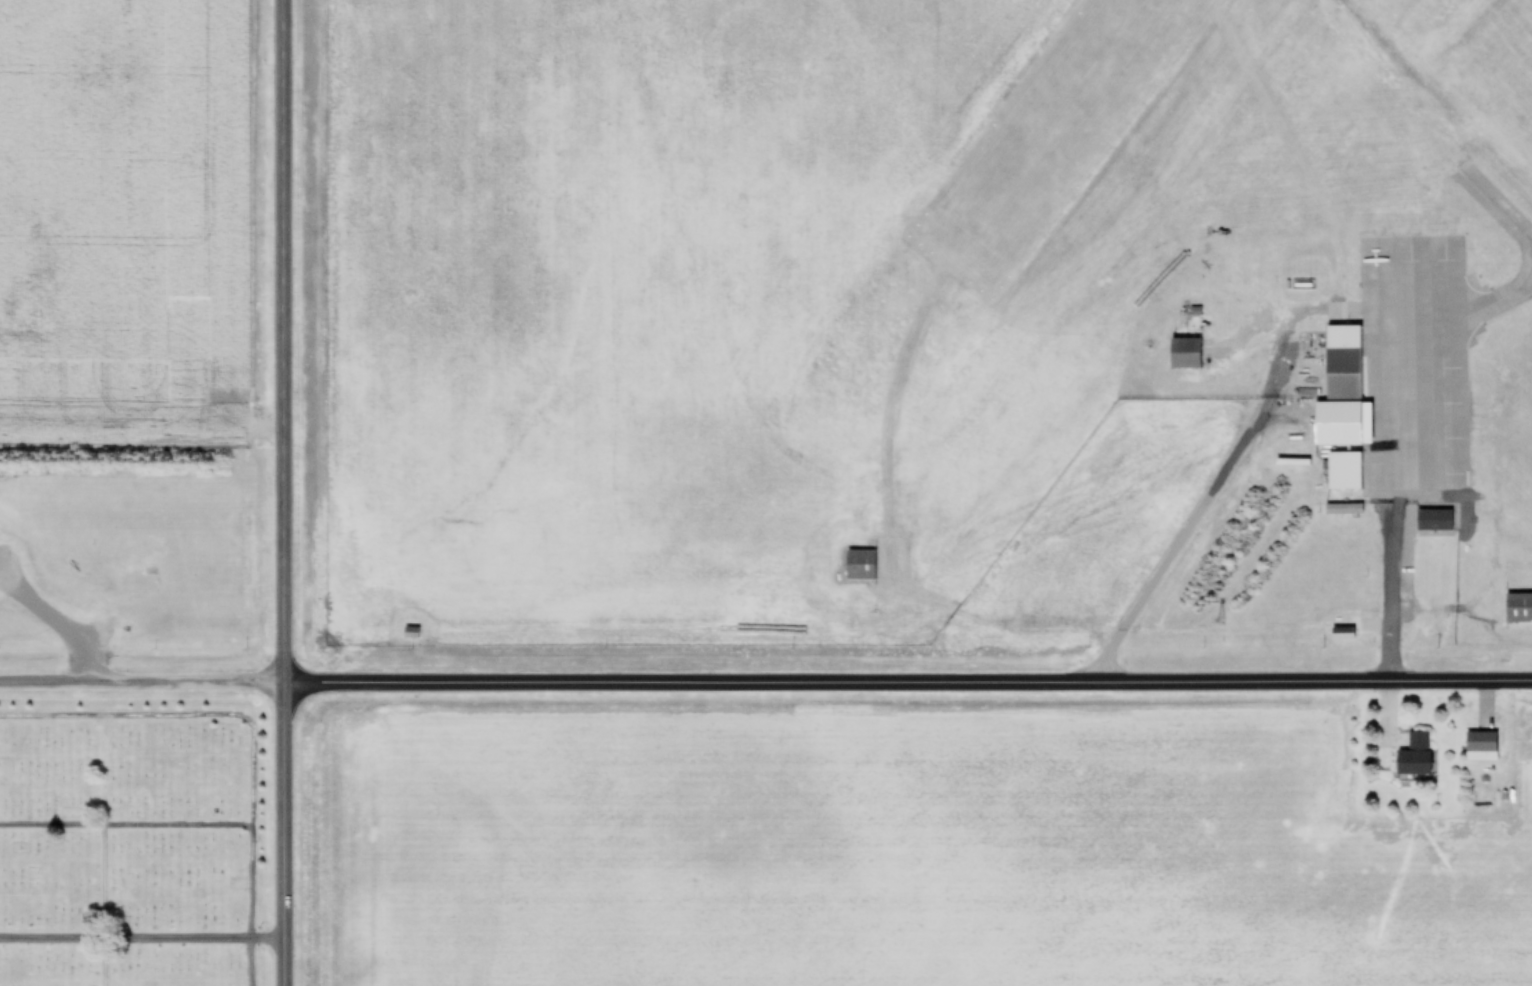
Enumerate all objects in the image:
airport runway: (998, 218)
building: (1529, 275)
airport taxiway: (1499, 299)
airport: (929, 323)
building: (1408, 339)
building: (1185, 355)
airport apron: (1415, 364)
building: (1344, 472)
road: (284, 493)
building: (1344, 511)
road: (1196, 518)
building: (861, 566)
building: (139, 573)
road: (1393, 587)
building: (1517, 608)
road: (58, 622)
road: (142, 683)
road: (908, 684)
road: (230, 717)
building: (1481, 743)
building: (1415, 756)
road: (142, 825)
road: (105, 851)
crop: (926, 853)
road: (142, 936)

